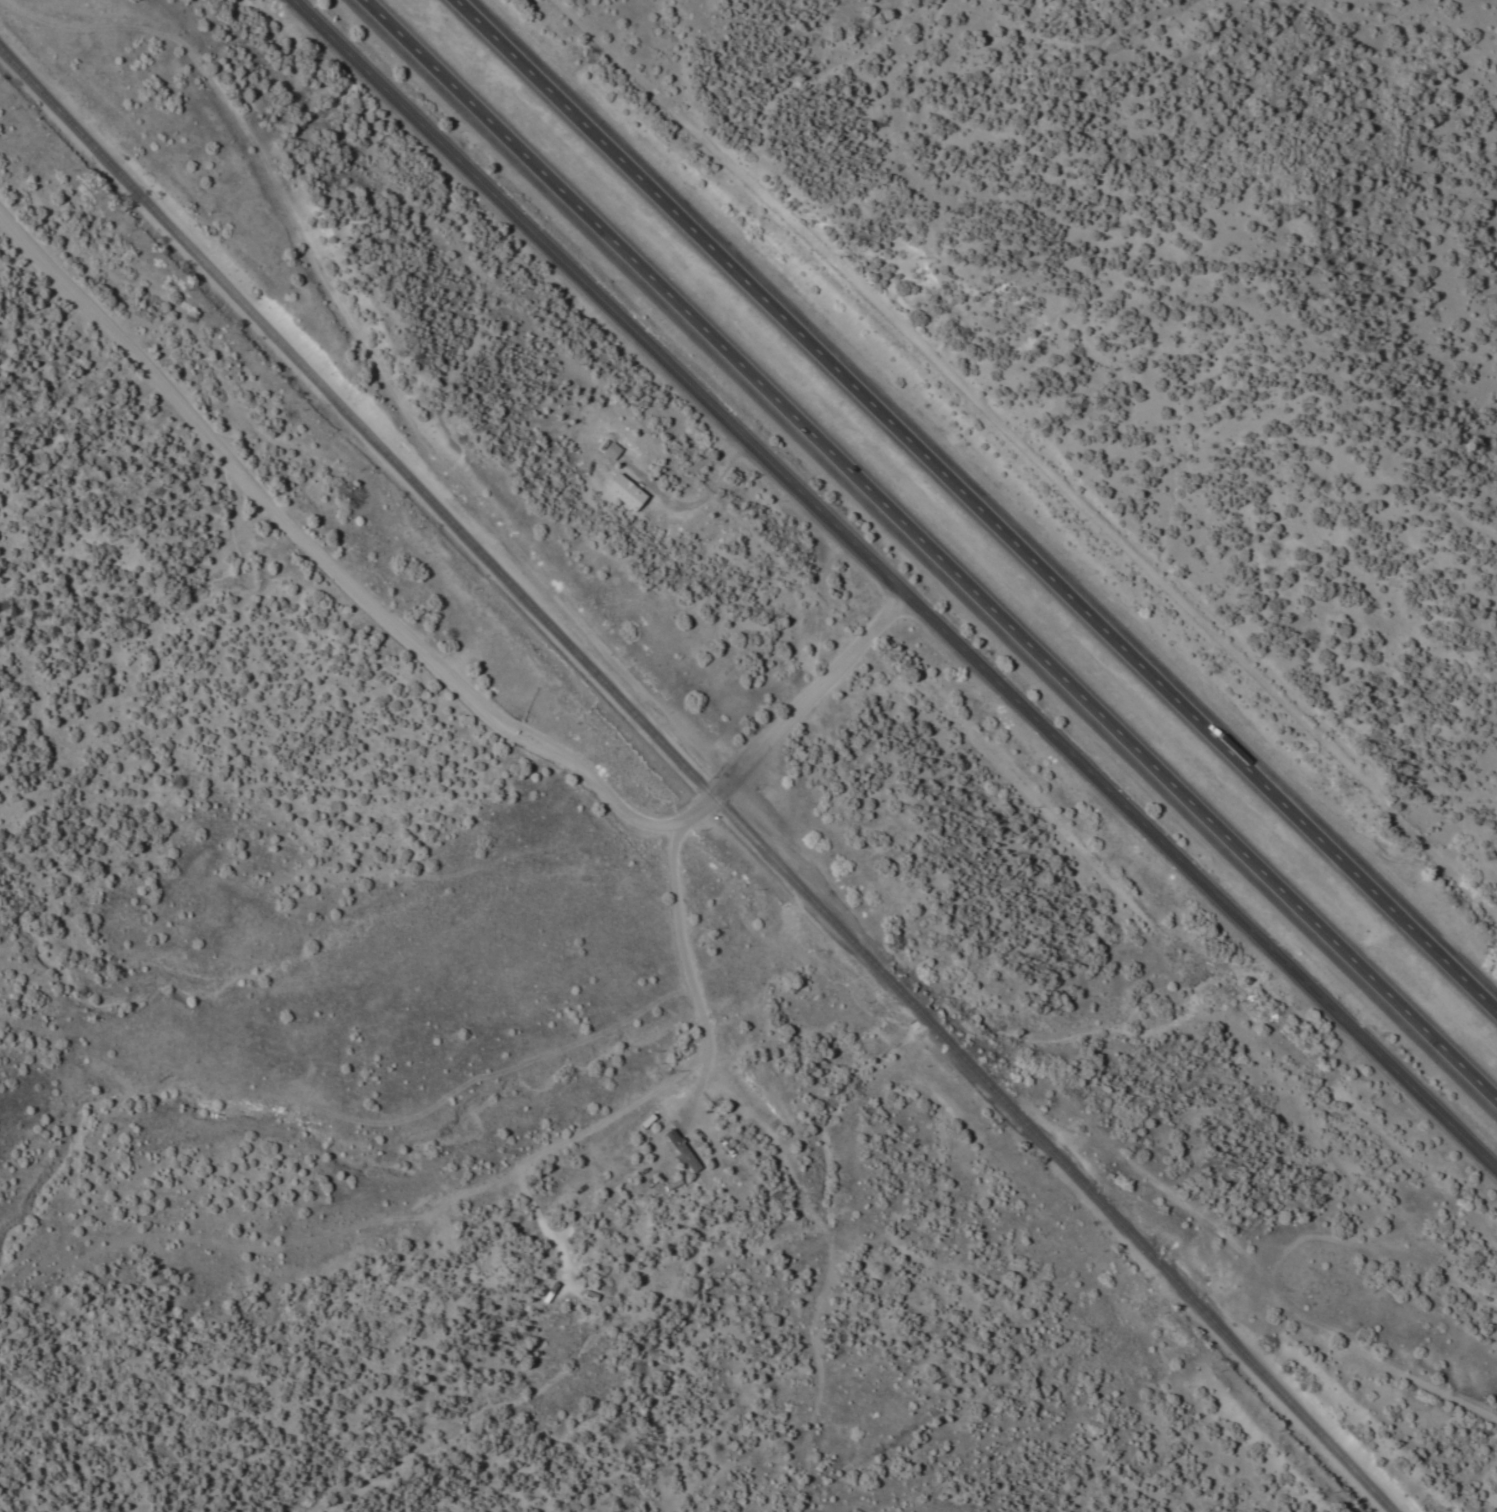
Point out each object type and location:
building: (619, 492)
road: (974, 507)
road: (929, 550)
road: (897, 583)
road: (437, 650)
railway: (696, 781)
building: (678, 1151)

